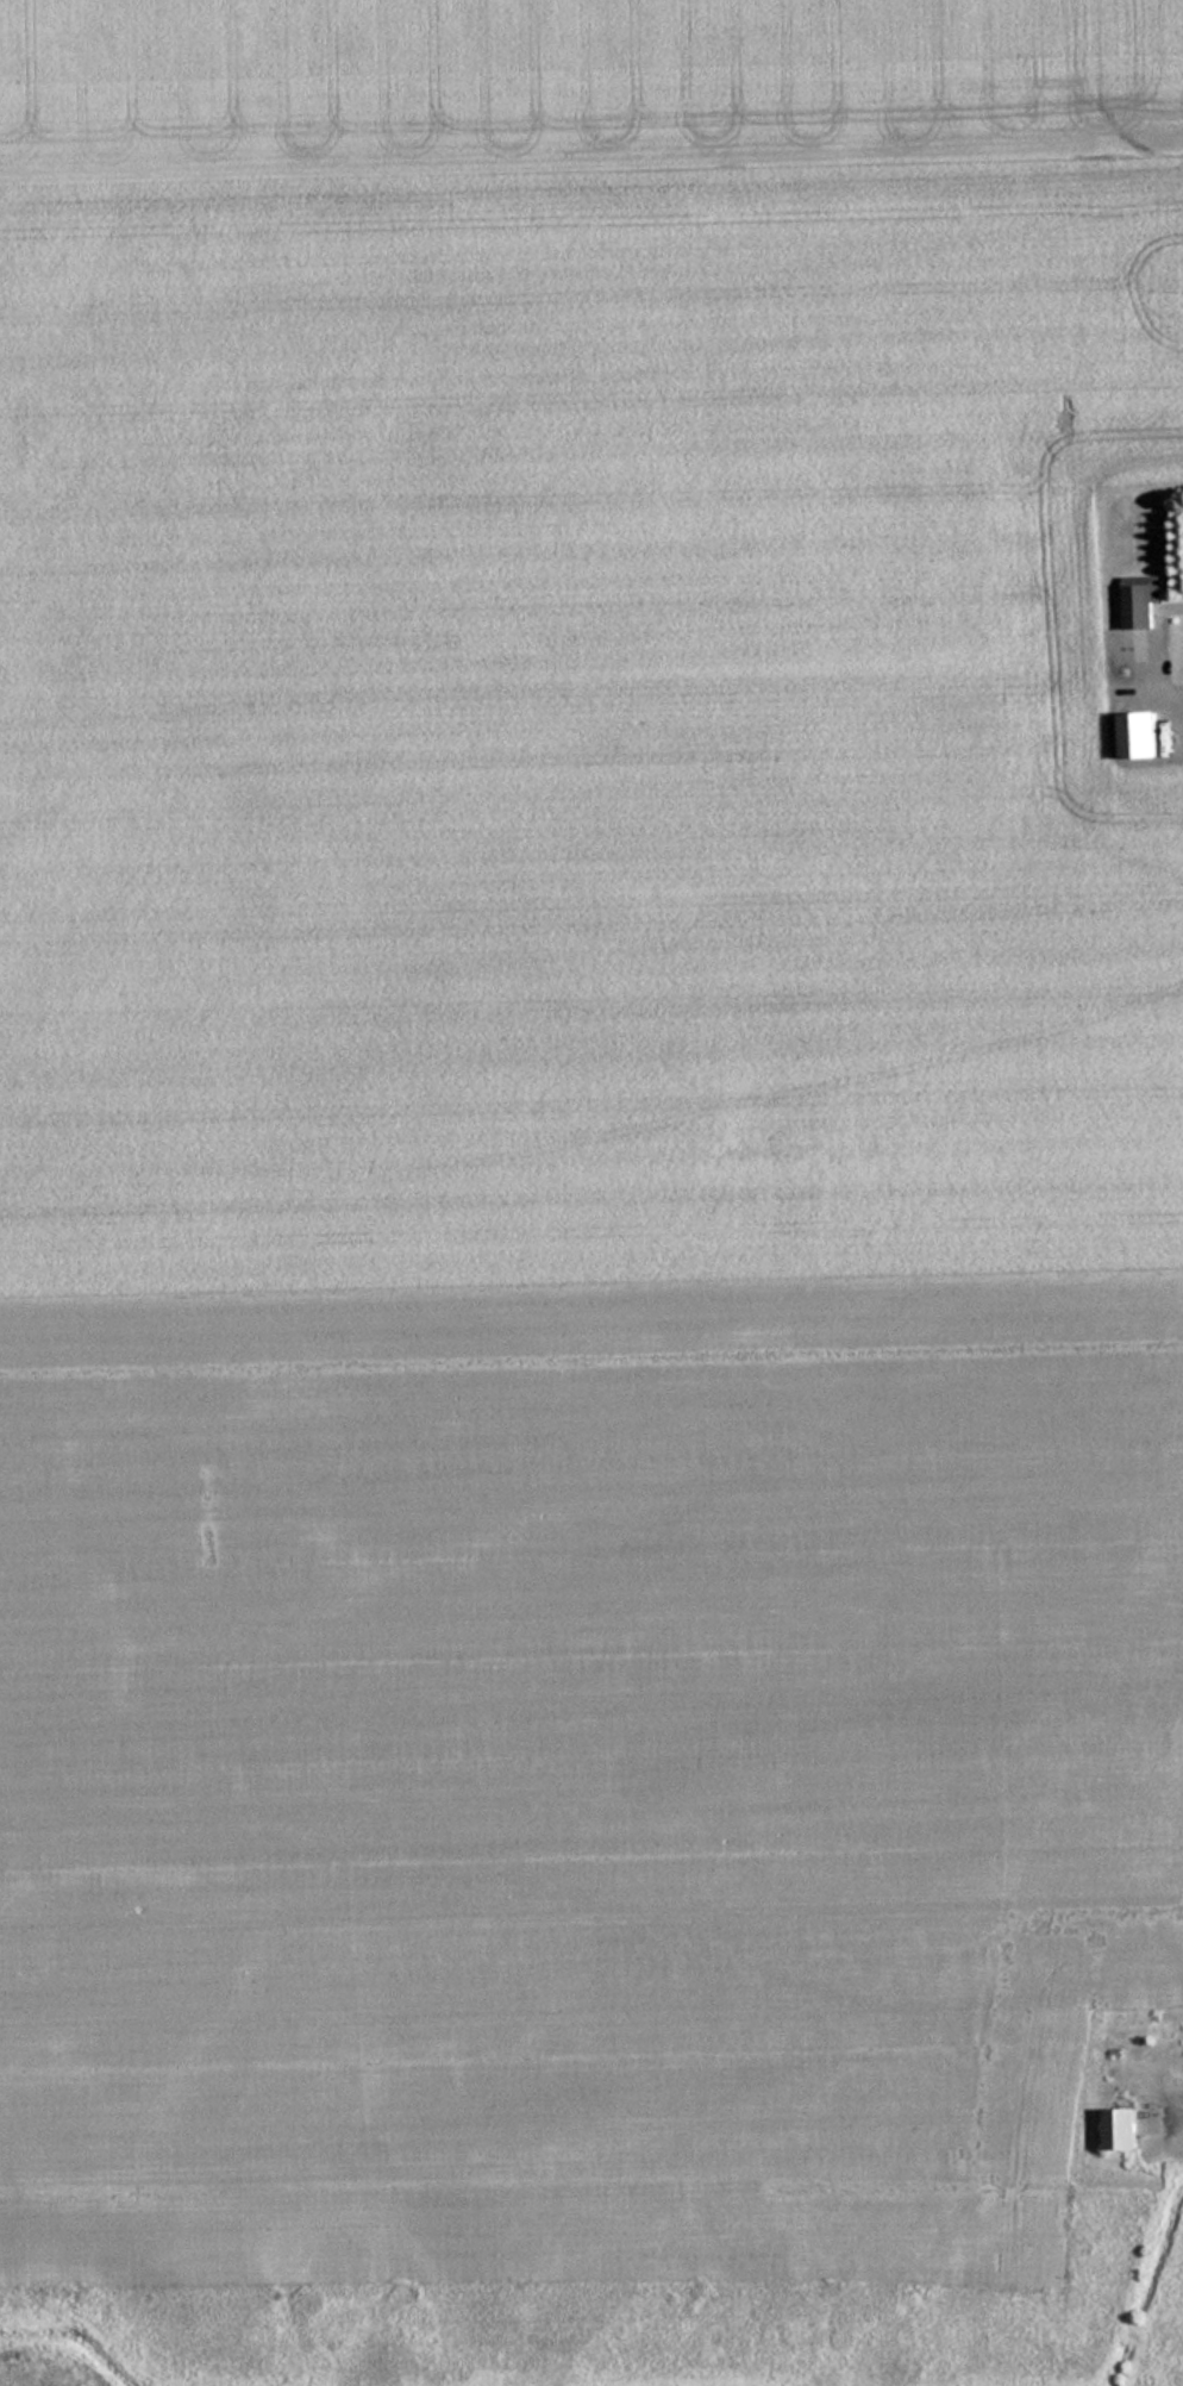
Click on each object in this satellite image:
building: (1140, 600)
building: (1139, 733)
building: (1122, 2129)

